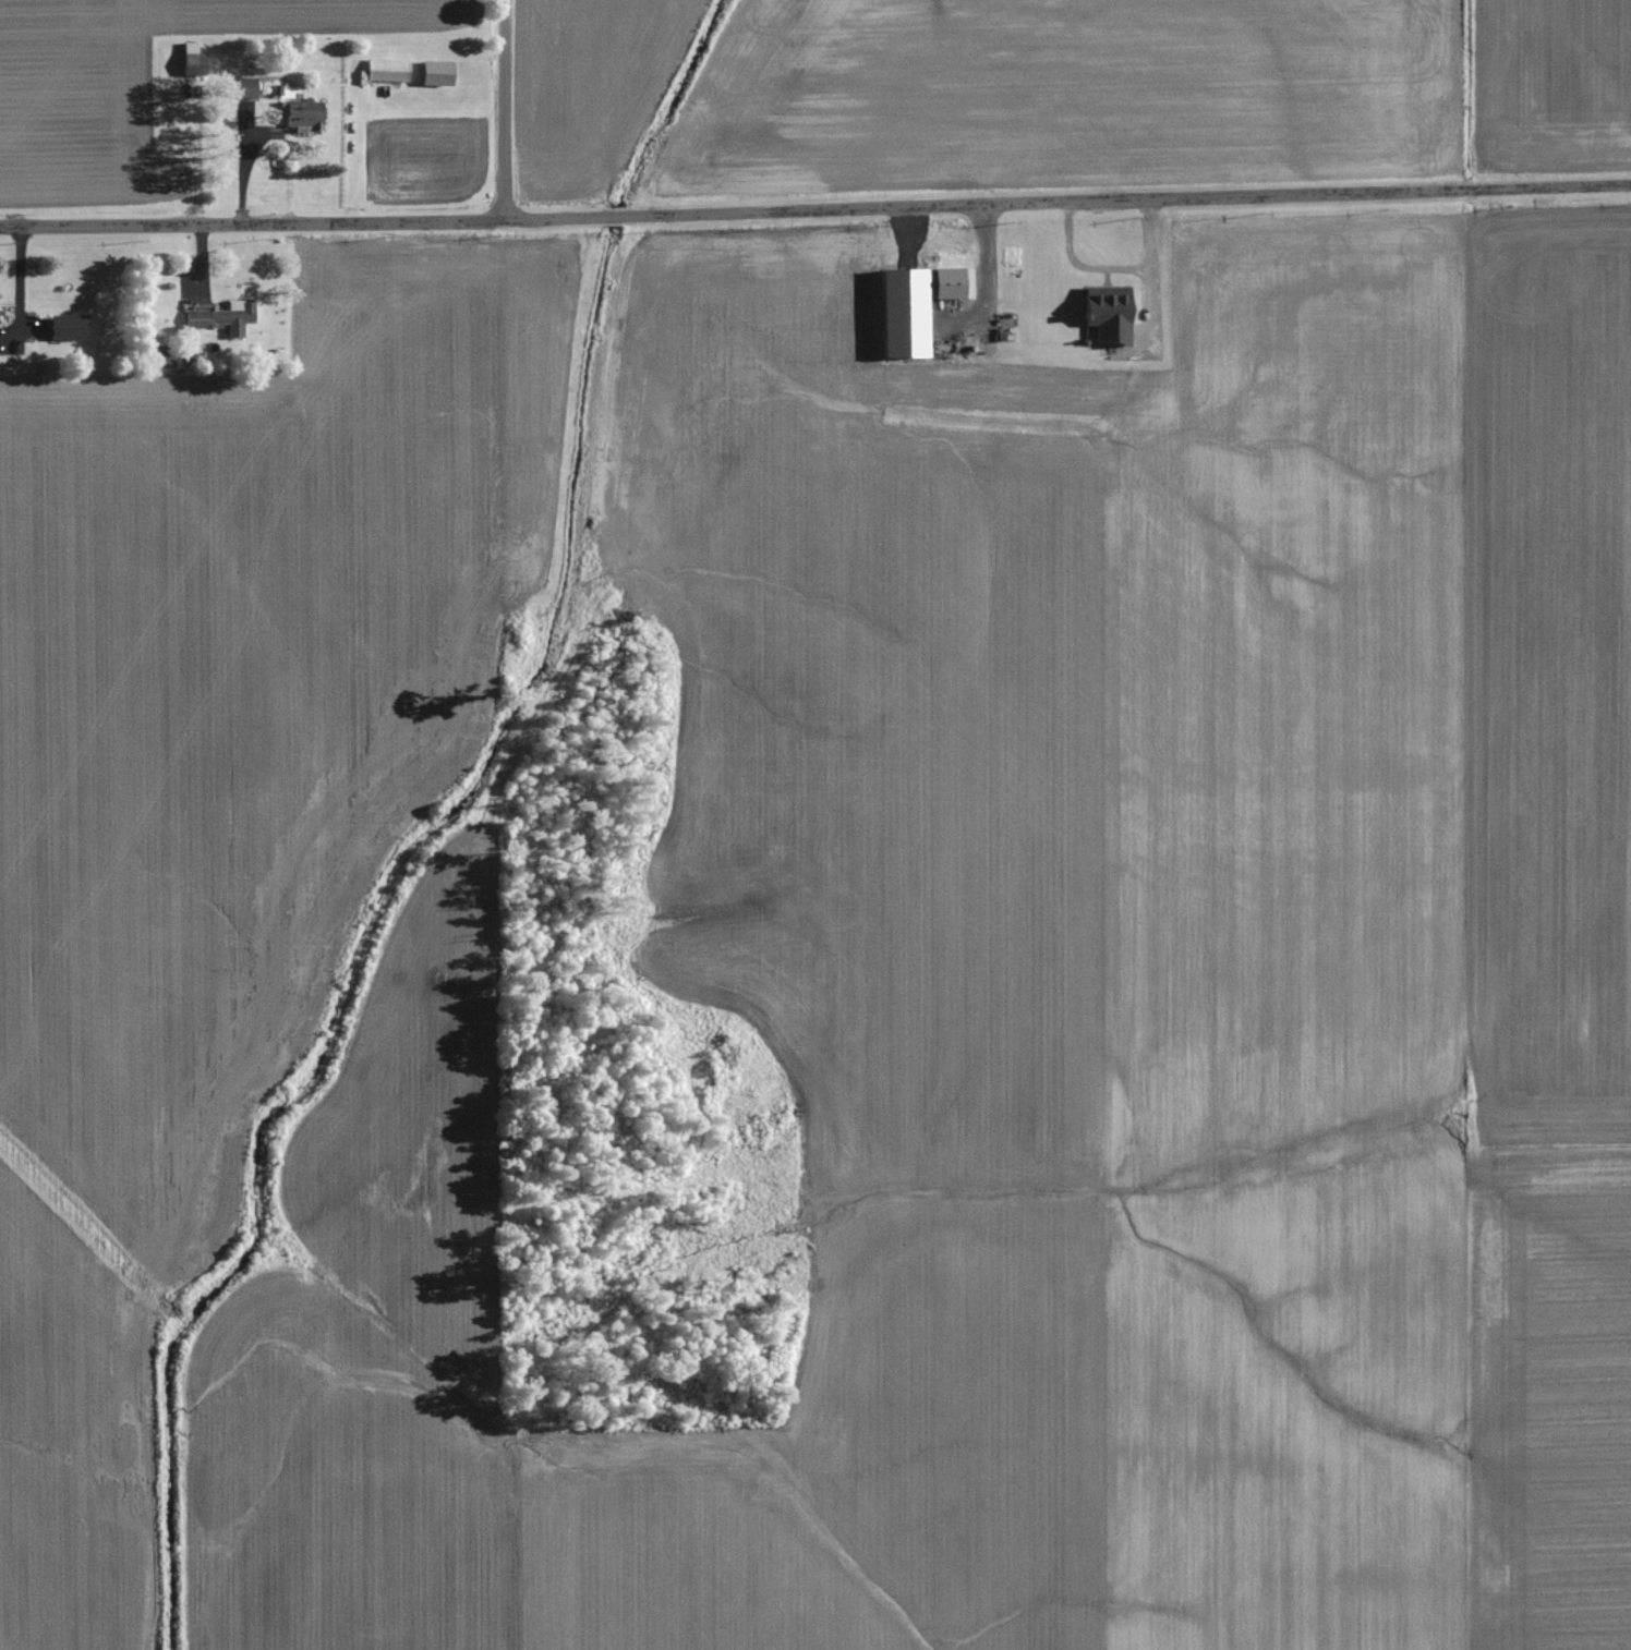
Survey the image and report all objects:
building: (391, 71)
building: (442, 73)
building: (249, 87)
road: (507, 109)
road: (816, 209)
road: (1111, 269)
building: (920, 302)
building: (227, 319)
building: (73, 327)

